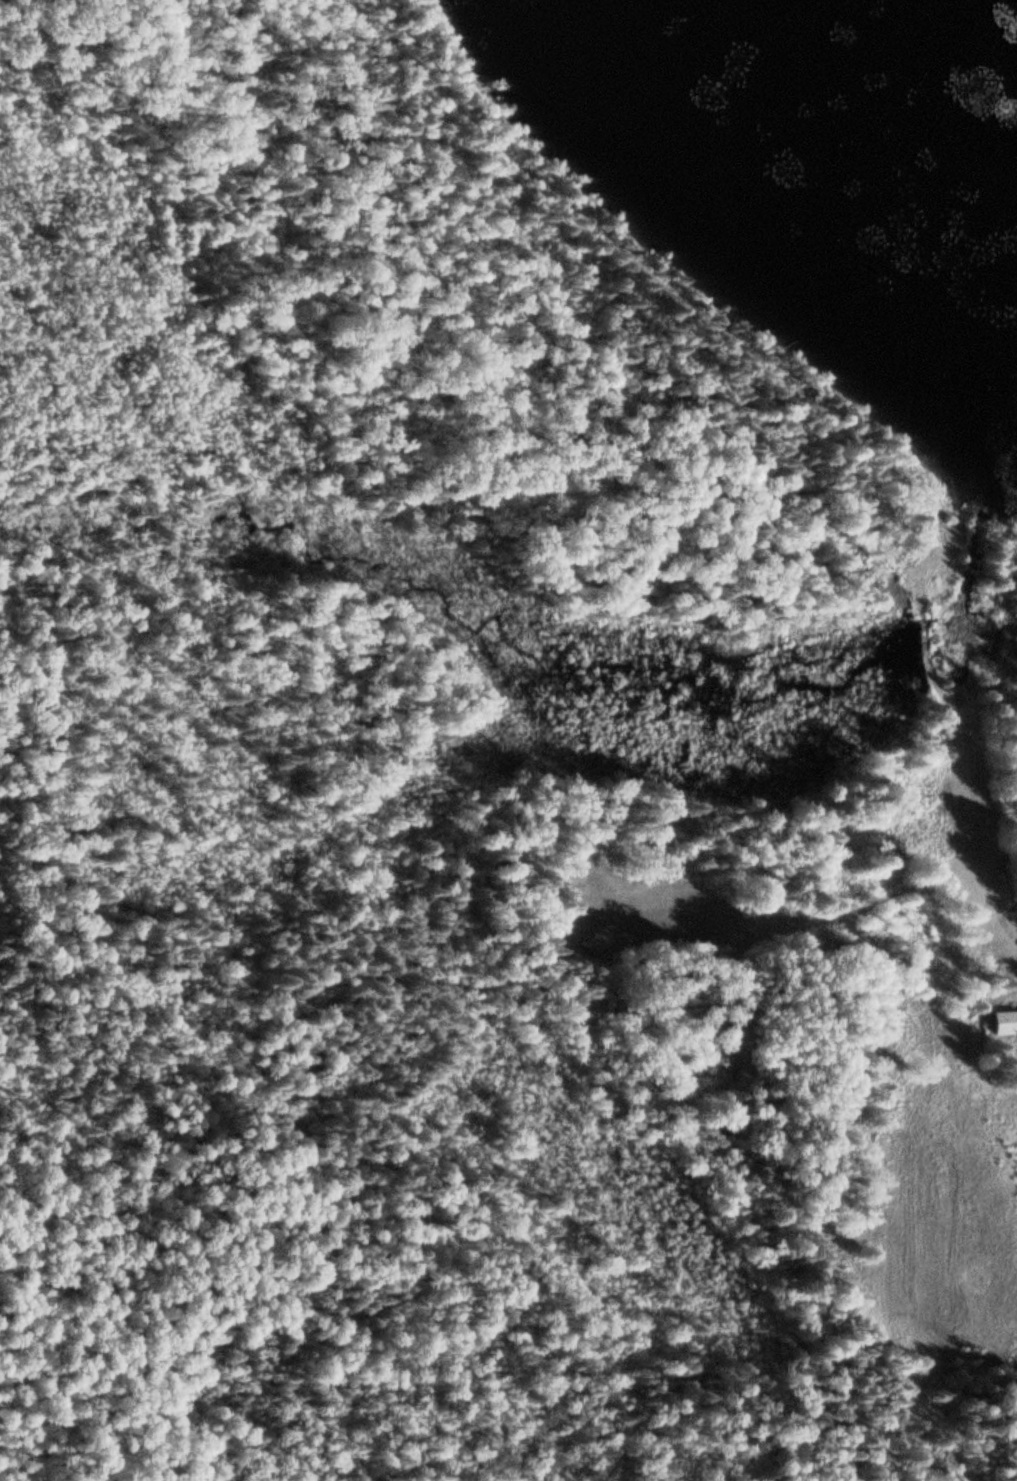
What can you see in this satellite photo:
building: (1006, 1023)

